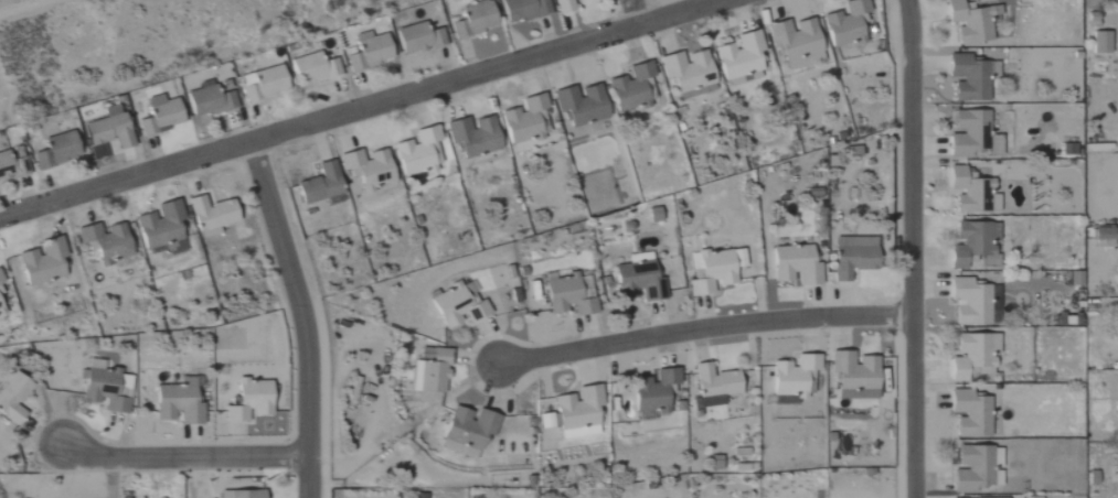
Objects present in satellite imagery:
building: (562, 6)
road: (642, 11)
building: (471, 20)
building: (969, 20)
building: (847, 23)
building: (416, 37)
building: (792, 41)
building: (1099, 42)
building: (366, 51)
building: (738, 57)
building: (311, 68)
building: (686, 72)
building: (968, 76)
building: (263, 84)
building: (631, 87)
building: (209, 99)
building: (578, 104)
road: (359, 105)
building: (158, 115)
building: (524, 119)
building: (106, 130)
building: (970, 134)
building: (471, 136)
building: (54, 150)
building: (416, 151)
building: (851, 151)
building: (10, 165)
building: (365, 167)
building: (318, 185)
building: (970, 192)
building: (209, 215)
building: (651, 215)
building: (1101, 236)
building: (104, 240)
building: (970, 242)
road: (909, 248)
building: (851, 257)
building: (40, 261)
building: (794, 266)
building: (710, 271)
building: (637, 278)
building: (0, 281)
building: (0, 293)
building: (568, 294)
building: (973, 302)
building: (457, 305)
building: (0, 310)
road: (301, 314)
road: (706, 326)
building: (971, 355)
building: (429, 371)
building: (852, 375)
building: (792, 376)
building: (713, 385)
building: (102, 390)
building: (657, 392)
building: (11, 397)
building: (246, 401)
building: (177, 402)
building: (576, 411)
building: (969, 413)
building: (466, 430)
road: (183, 455)
building: (973, 467)
road: (113, 476)
building: (1117, 476)
building: (238, 494)

